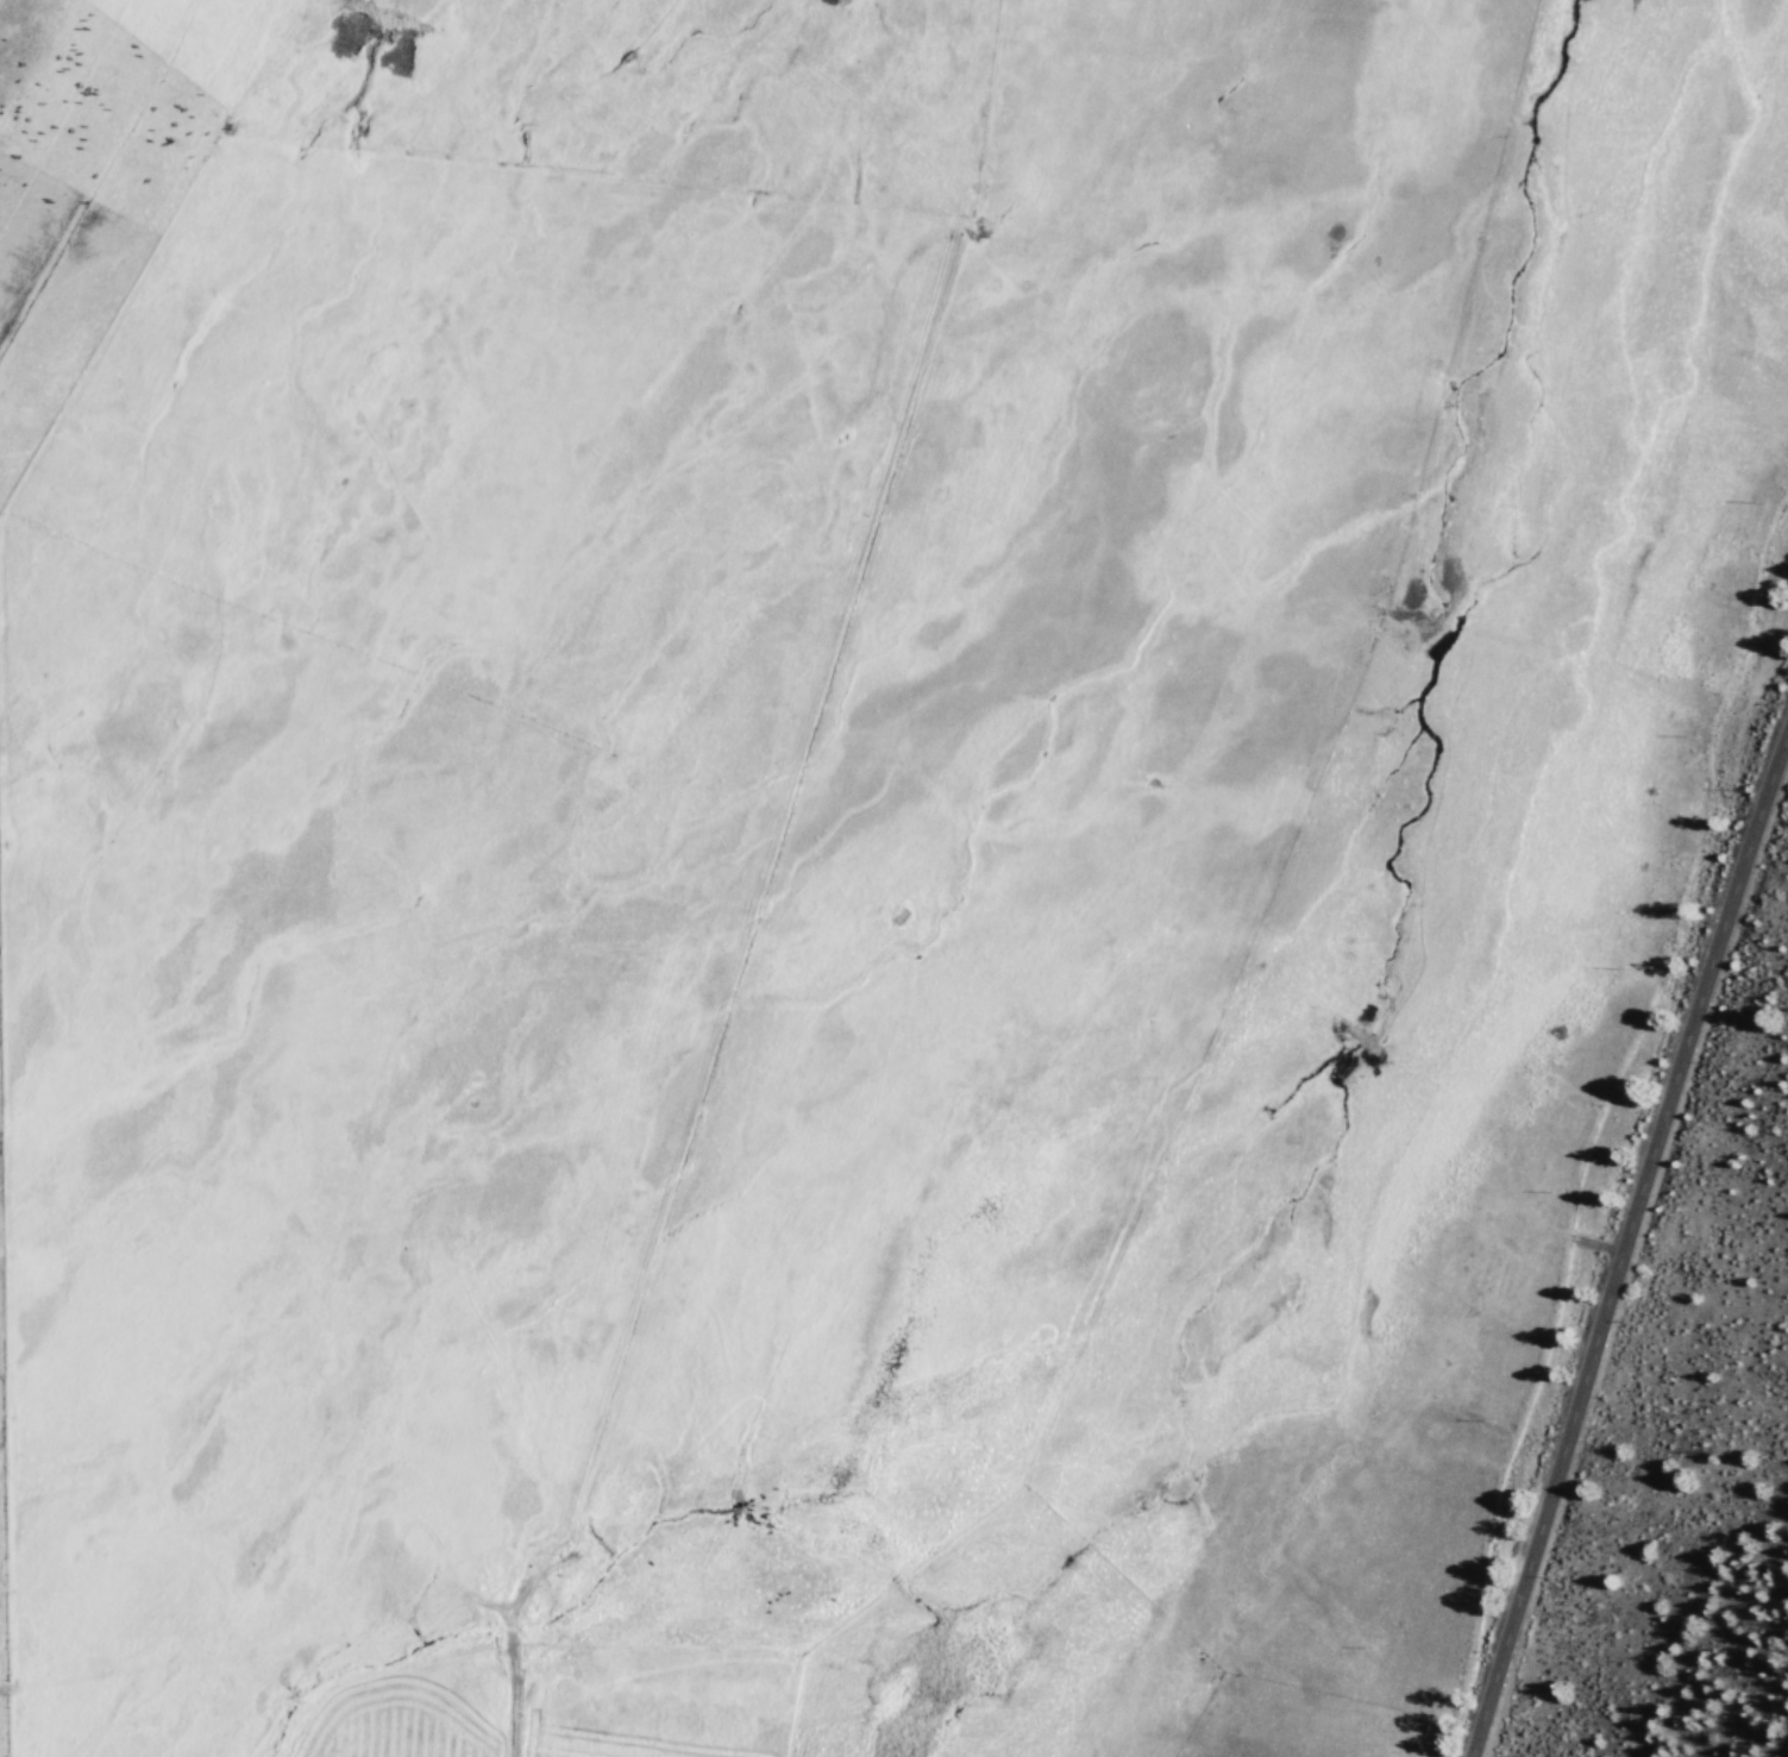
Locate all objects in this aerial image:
road: (1630, 1255)

